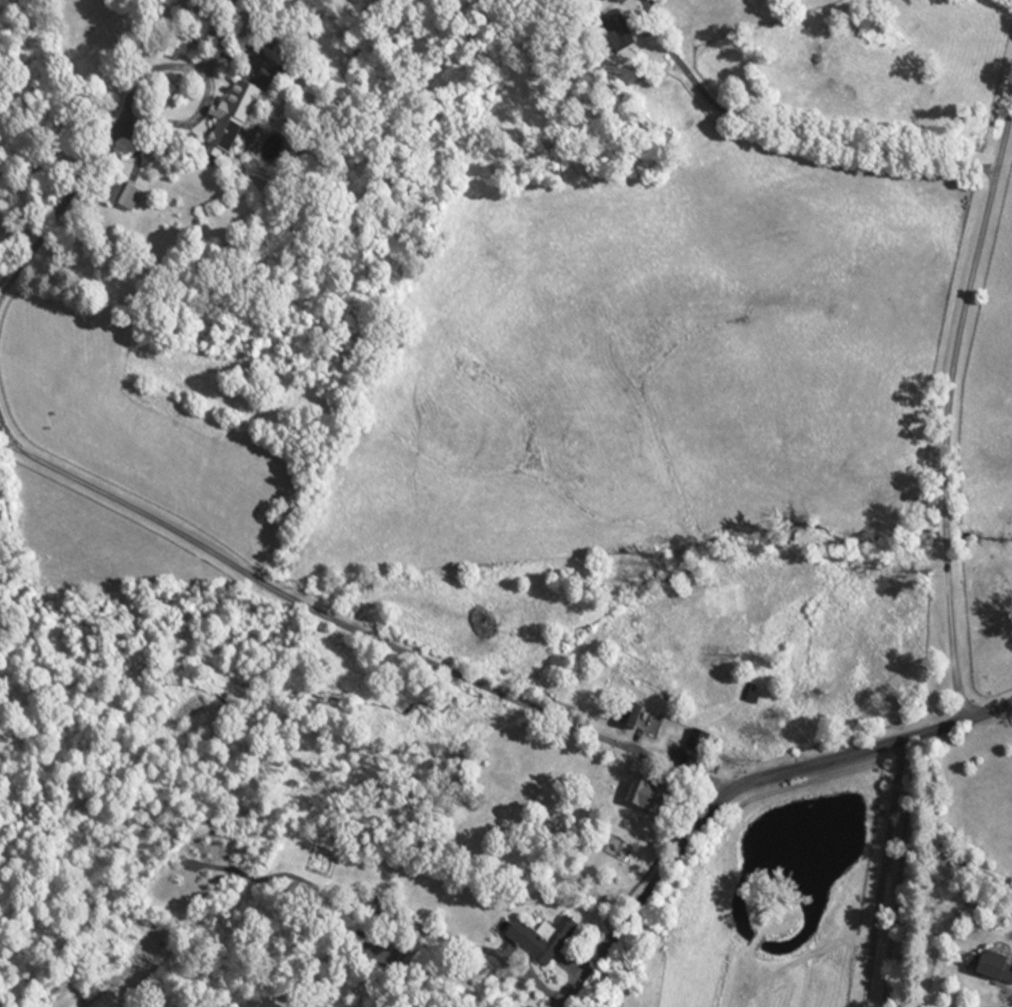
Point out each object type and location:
building: (616, 36)
road: (206, 78)
building: (231, 125)
road: (793, 130)
building: (122, 198)
road: (58, 207)
road: (946, 412)
road: (6, 431)
road: (358, 624)
building: (631, 717)
road: (737, 787)
building: (649, 799)
road: (934, 835)
road: (884, 873)
building: (539, 942)
building: (379, 958)
building: (990, 969)

